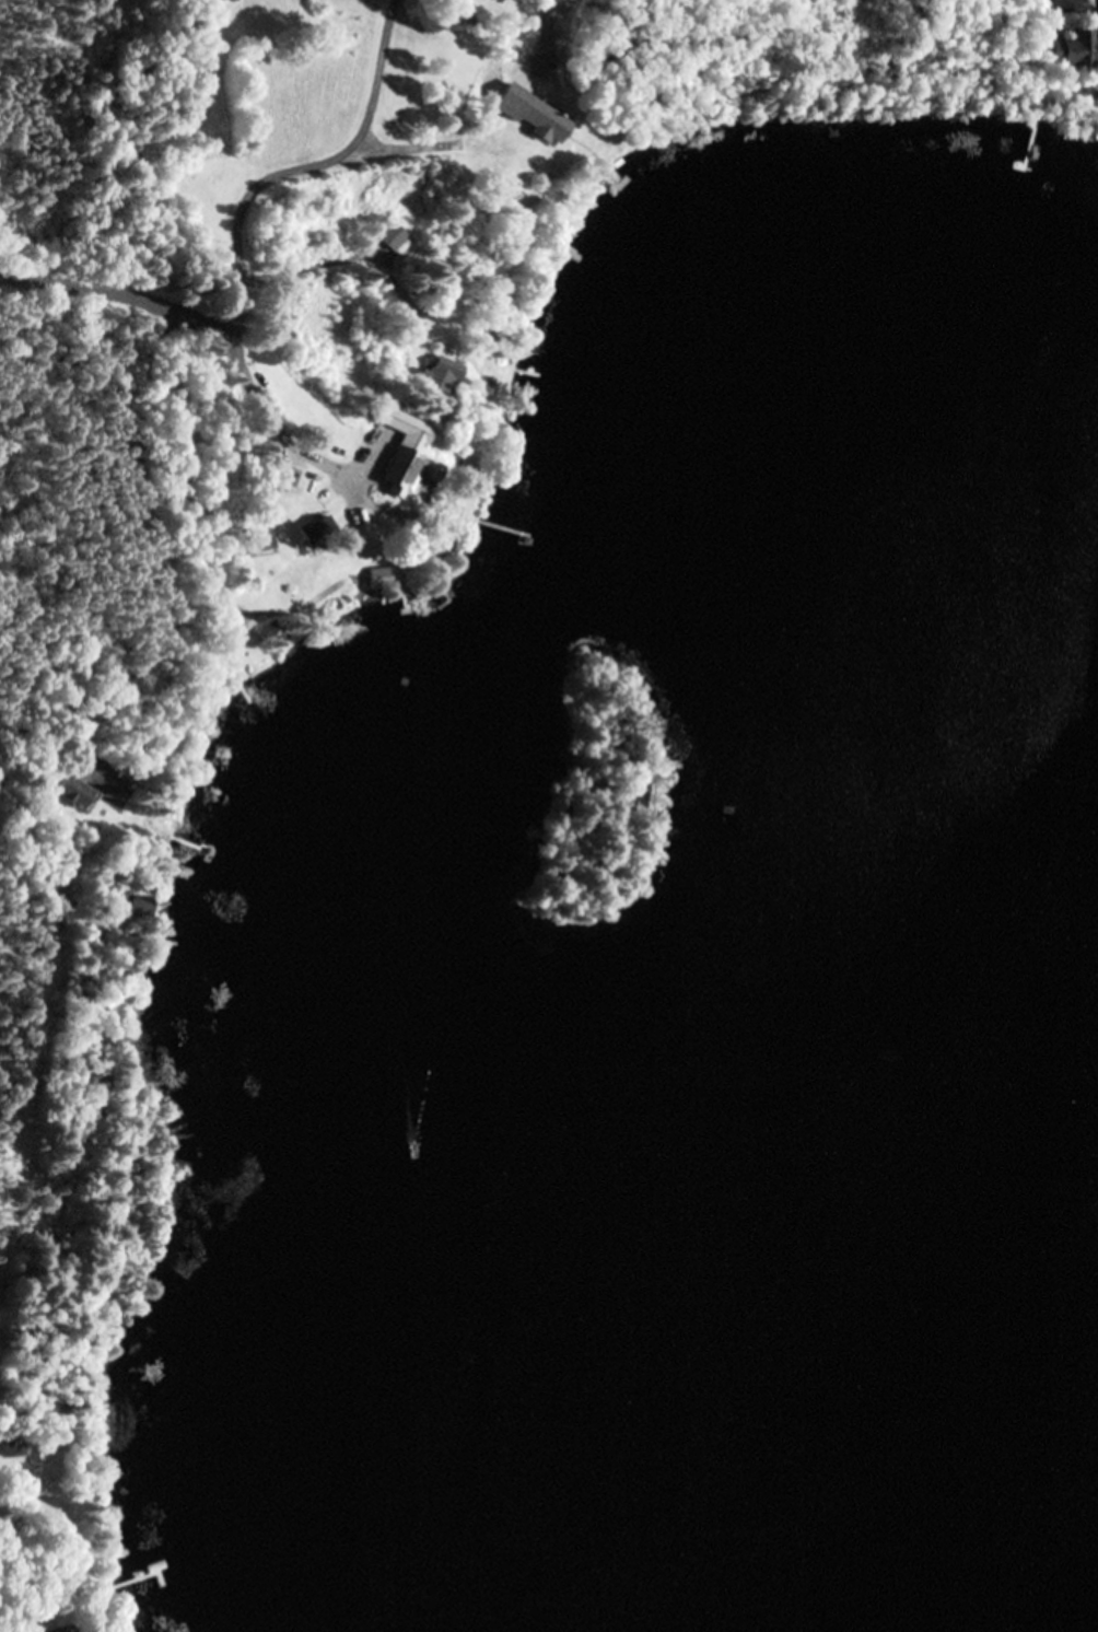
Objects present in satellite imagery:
road: (242, 207)
road: (118, 288)
road: (50, 684)
road: (131, 761)

